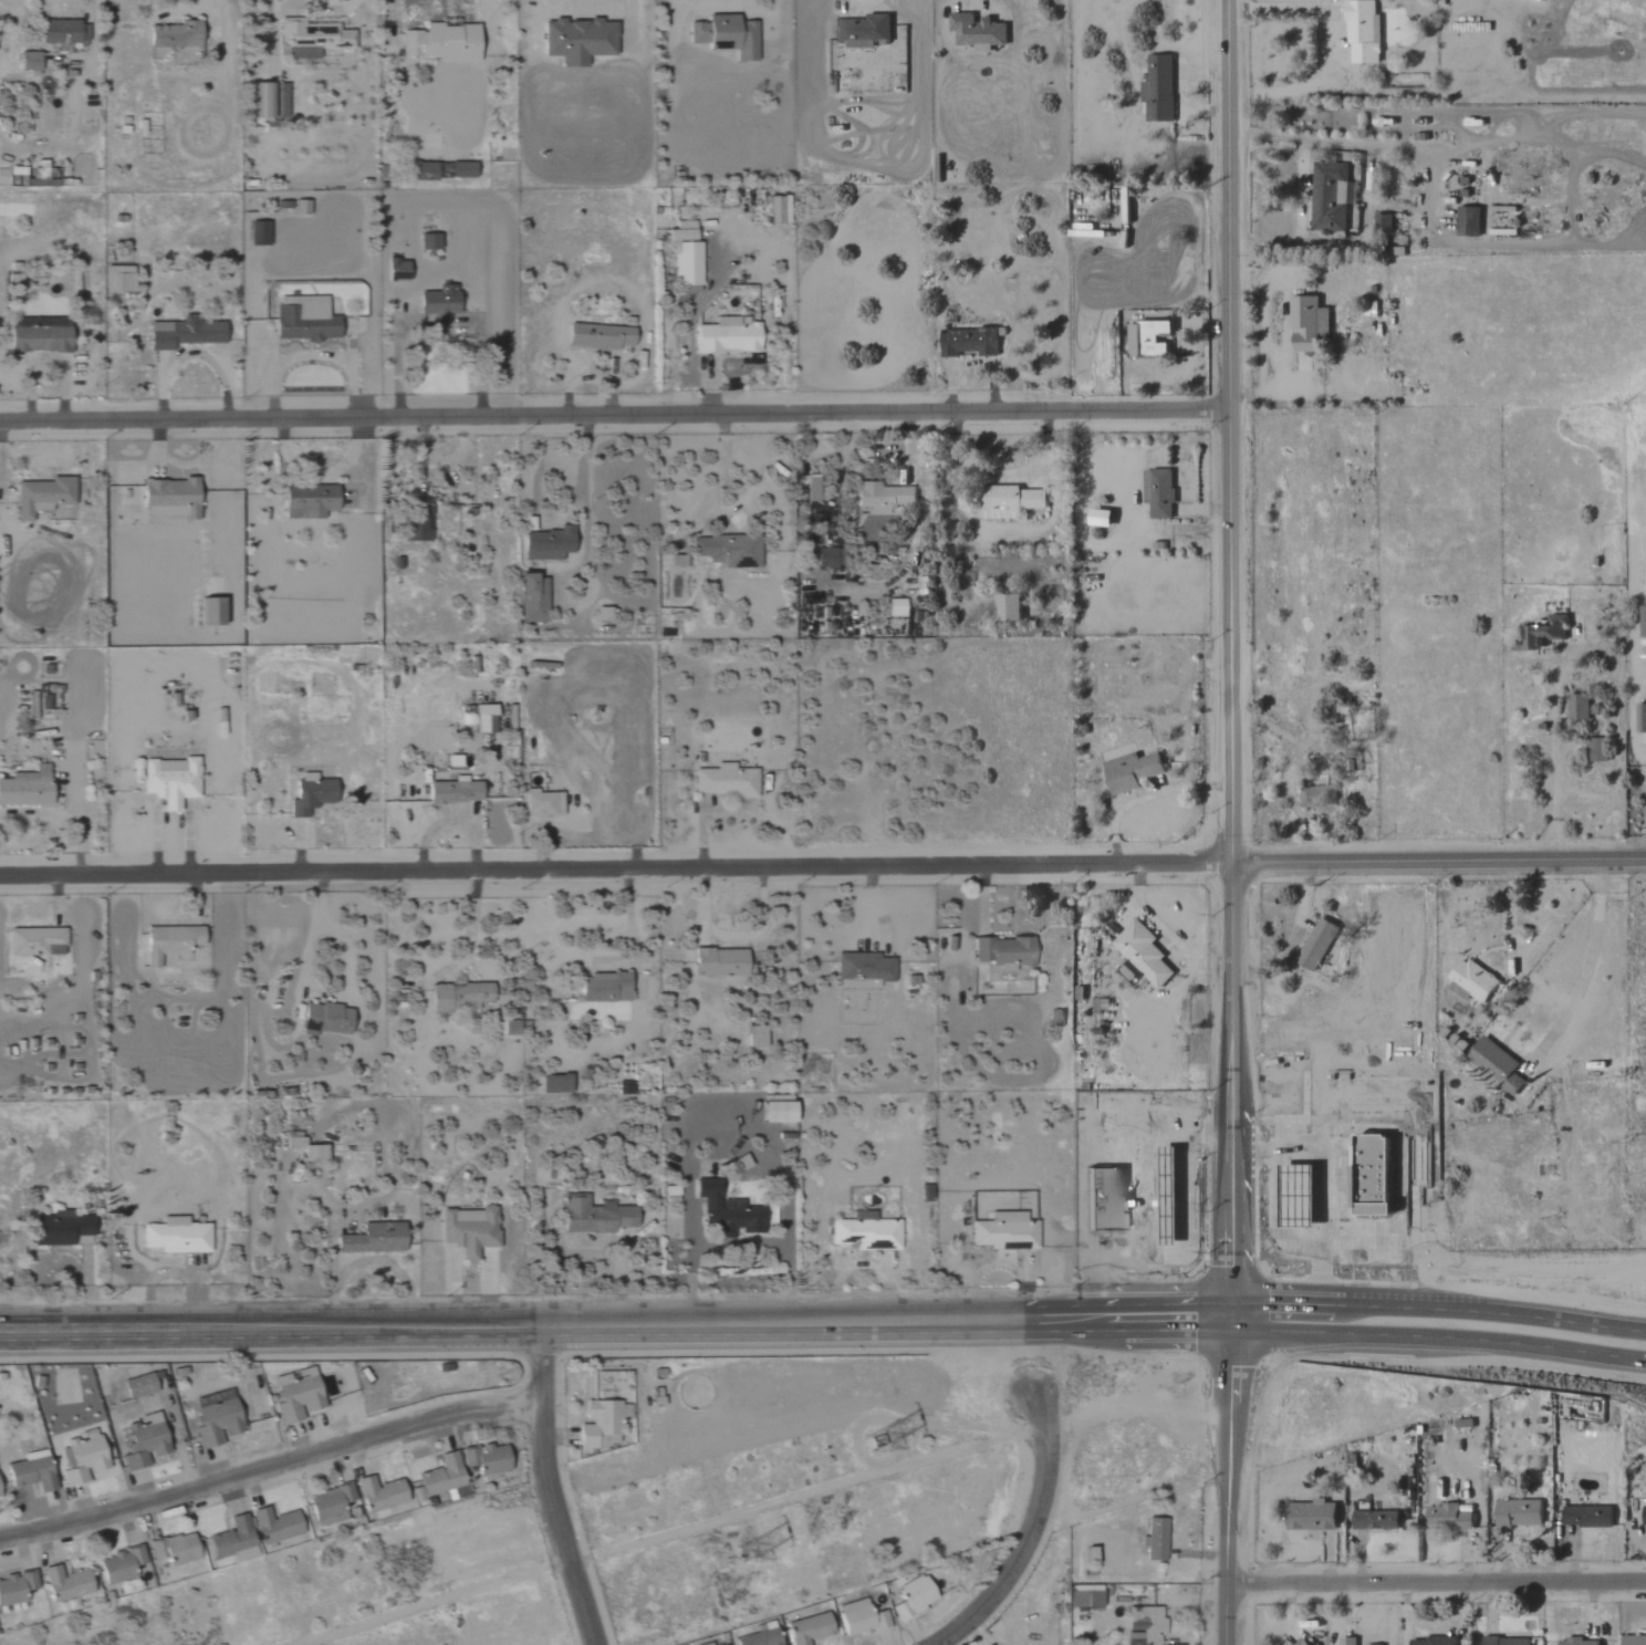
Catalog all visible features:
road: (1281, 11)
building: (164, 20)
building: (862, 31)
building: (976, 31)
building: (1361, 32)
road: (788, 33)
building: (63, 34)
building: (173, 34)
building: (725, 35)
building: (311, 38)
building: (576, 40)
building: (439, 42)
building: (28, 61)
building: (1157, 89)
building: (264, 101)
building: (457, 170)
building: (425, 171)
building: (1330, 196)
building: (1350, 218)
building: (1467, 221)
building: (1382, 222)
building: (680, 231)
building: (257, 233)
building: (427, 241)
building: (686, 263)
building: (395, 270)
building: (117, 279)
building: (437, 303)
building: (303, 320)
building: (42, 322)
building: (1306, 322)
building: (183, 333)
building: (726, 335)
building: (596, 336)
building: (37, 340)
building: (1146, 340)
building: (967, 342)
road: (614, 416)
road: (1229, 430)
road: (583, 482)
building: (809, 488)
building: (1157, 492)
building: (40, 496)
building: (881, 497)
building: (168, 500)
building: (1007, 500)
building: (306, 501)
building: (418, 516)
building: (1097, 518)
building: (546, 544)
building: (729, 551)
building: (829, 558)
building: (671, 562)
building: (869, 572)
building: (531, 598)
building: (895, 607)
building: (1007, 607)
building: (207, 612)
building: (601, 614)
building: (1642, 622)
building: (1544, 633)
road: (1618, 683)
building: (1577, 707)
building: (482, 719)
building: (1640, 719)
building: (539, 743)
building: (1596, 750)
building: (1129, 771)
building: (168, 781)
building: (723, 781)
building: (25, 788)
building: (452, 792)
building: (309, 794)
building: (1316, 797)
building: (541, 803)
road: (452, 820)
road: (1440, 857)
road: (617, 865)
road: (471, 926)
road: (1509, 929)
road: (632, 931)
building: (34, 941)
building: (168, 941)
building: (1315, 944)
building: (1002, 951)
building: (1142, 951)
building: (718, 961)
road: (1585, 968)
building: (862, 970)
building: (1469, 979)
road: (347, 981)
building: (603, 987)
building: (470, 993)
building: (438, 1000)
building: (324, 1018)
building: (509, 1027)
building: (754, 1035)
building: (1494, 1063)
building: (554, 1083)
road: (1233, 1092)
building: (775, 1097)
building: (774, 1111)
road: (736, 1137)
building: (306, 1149)
building: (740, 1163)
building: (726, 1209)
building: (593, 1216)
road: (1274, 1226)
building: (61, 1228)
building: (468, 1229)
building: (864, 1231)
building: (1003, 1231)
building: (175, 1236)
building: (372, 1238)
road: (1438, 1308)
road: (616, 1328)
road: (1438, 1344)
building: (137, 1386)
building: (295, 1395)
building: (213, 1417)
building: (598, 1422)
power tower: (883, 1435)
building: (143, 1440)
building: (80, 1459)
building: (485, 1459)
building: (30, 1471)
road: (270, 1475)
building: (440, 1478)
road: (1230, 1483)
road: (546, 1490)
building: (378, 1493)
building: (329, 1505)
building: (1544, 1511)
building: (1517, 1513)
building: (1311, 1516)
building: (1446, 1517)
building: (1586, 1517)
building: (1644, 1517)
building: (1374, 1520)
building: (273, 1526)
road: (1028, 1530)
building: (231, 1540)
building: (1156, 1541)
power tower: (753, 1548)
building: (171, 1549)
building: (119, 1565)
road: (1438, 1581)
building: (63, 1583)
building: (14, 1587)
building: (911, 1597)
building: (1084, 1599)
building: (858, 1620)
building: (1146, 1623)
building: (806, 1628)
building: (758, 1638)
building: (1346, 1641)
building: (1430, 1641)
building: (1504, 1641)
building: (1633, 1641)
building: (1300, 1642)
building: (1576, 1642)
building: (1373, 1644)

